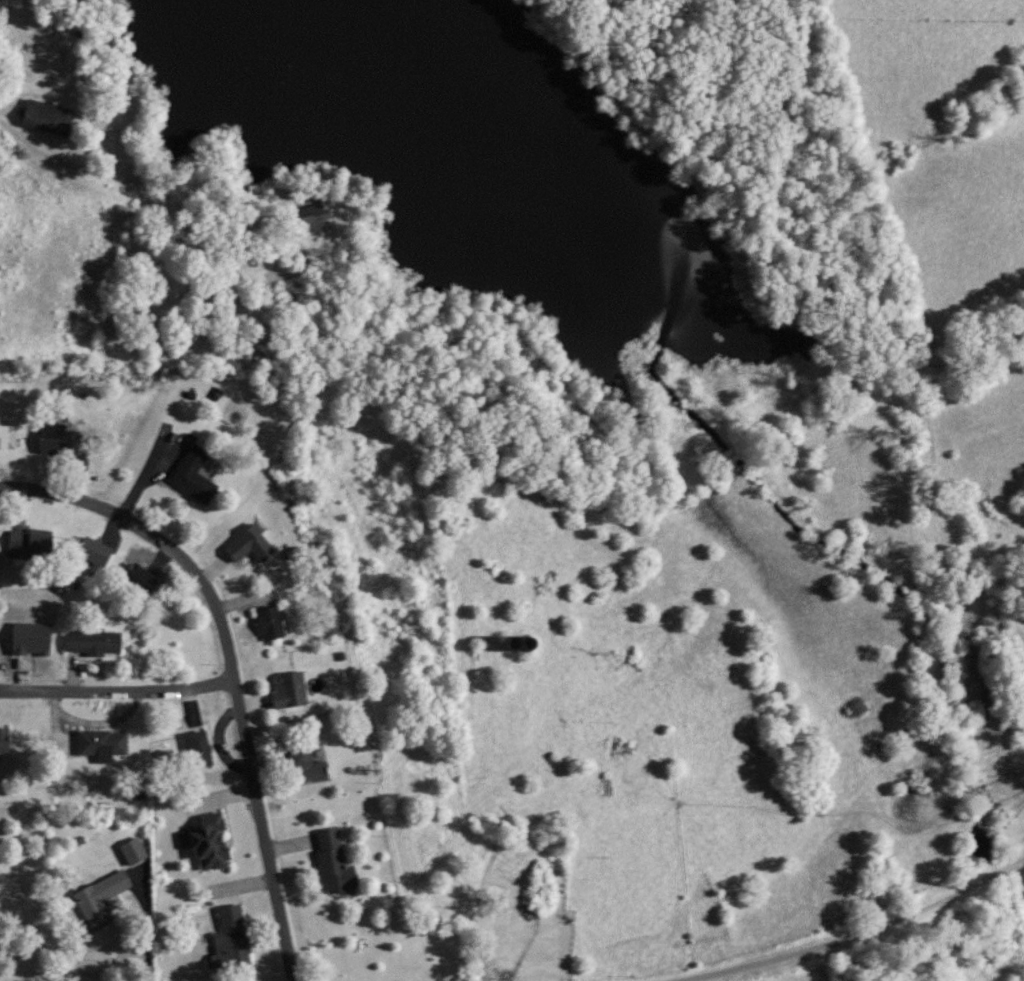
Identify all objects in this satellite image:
building: (46, 117)
road: (148, 201)
building: (312, 215)
building: (7, 437)
building: (192, 475)
building: (29, 542)
building: (248, 545)
building: (92, 552)
building: (138, 579)
building: (268, 624)
building: (93, 643)
road: (232, 666)
building: (288, 690)
road: (118, 692)
road: (94, 724)
building: (3, 741)
building: (101, 744)
building: (198, 749)
building: (304, 766)
building: (208, 842)
building: (132, 851)
building: (333, 862)
building: (99, 897)
road: (864, 933)
building: (230, 943)
road: (149, 963)

